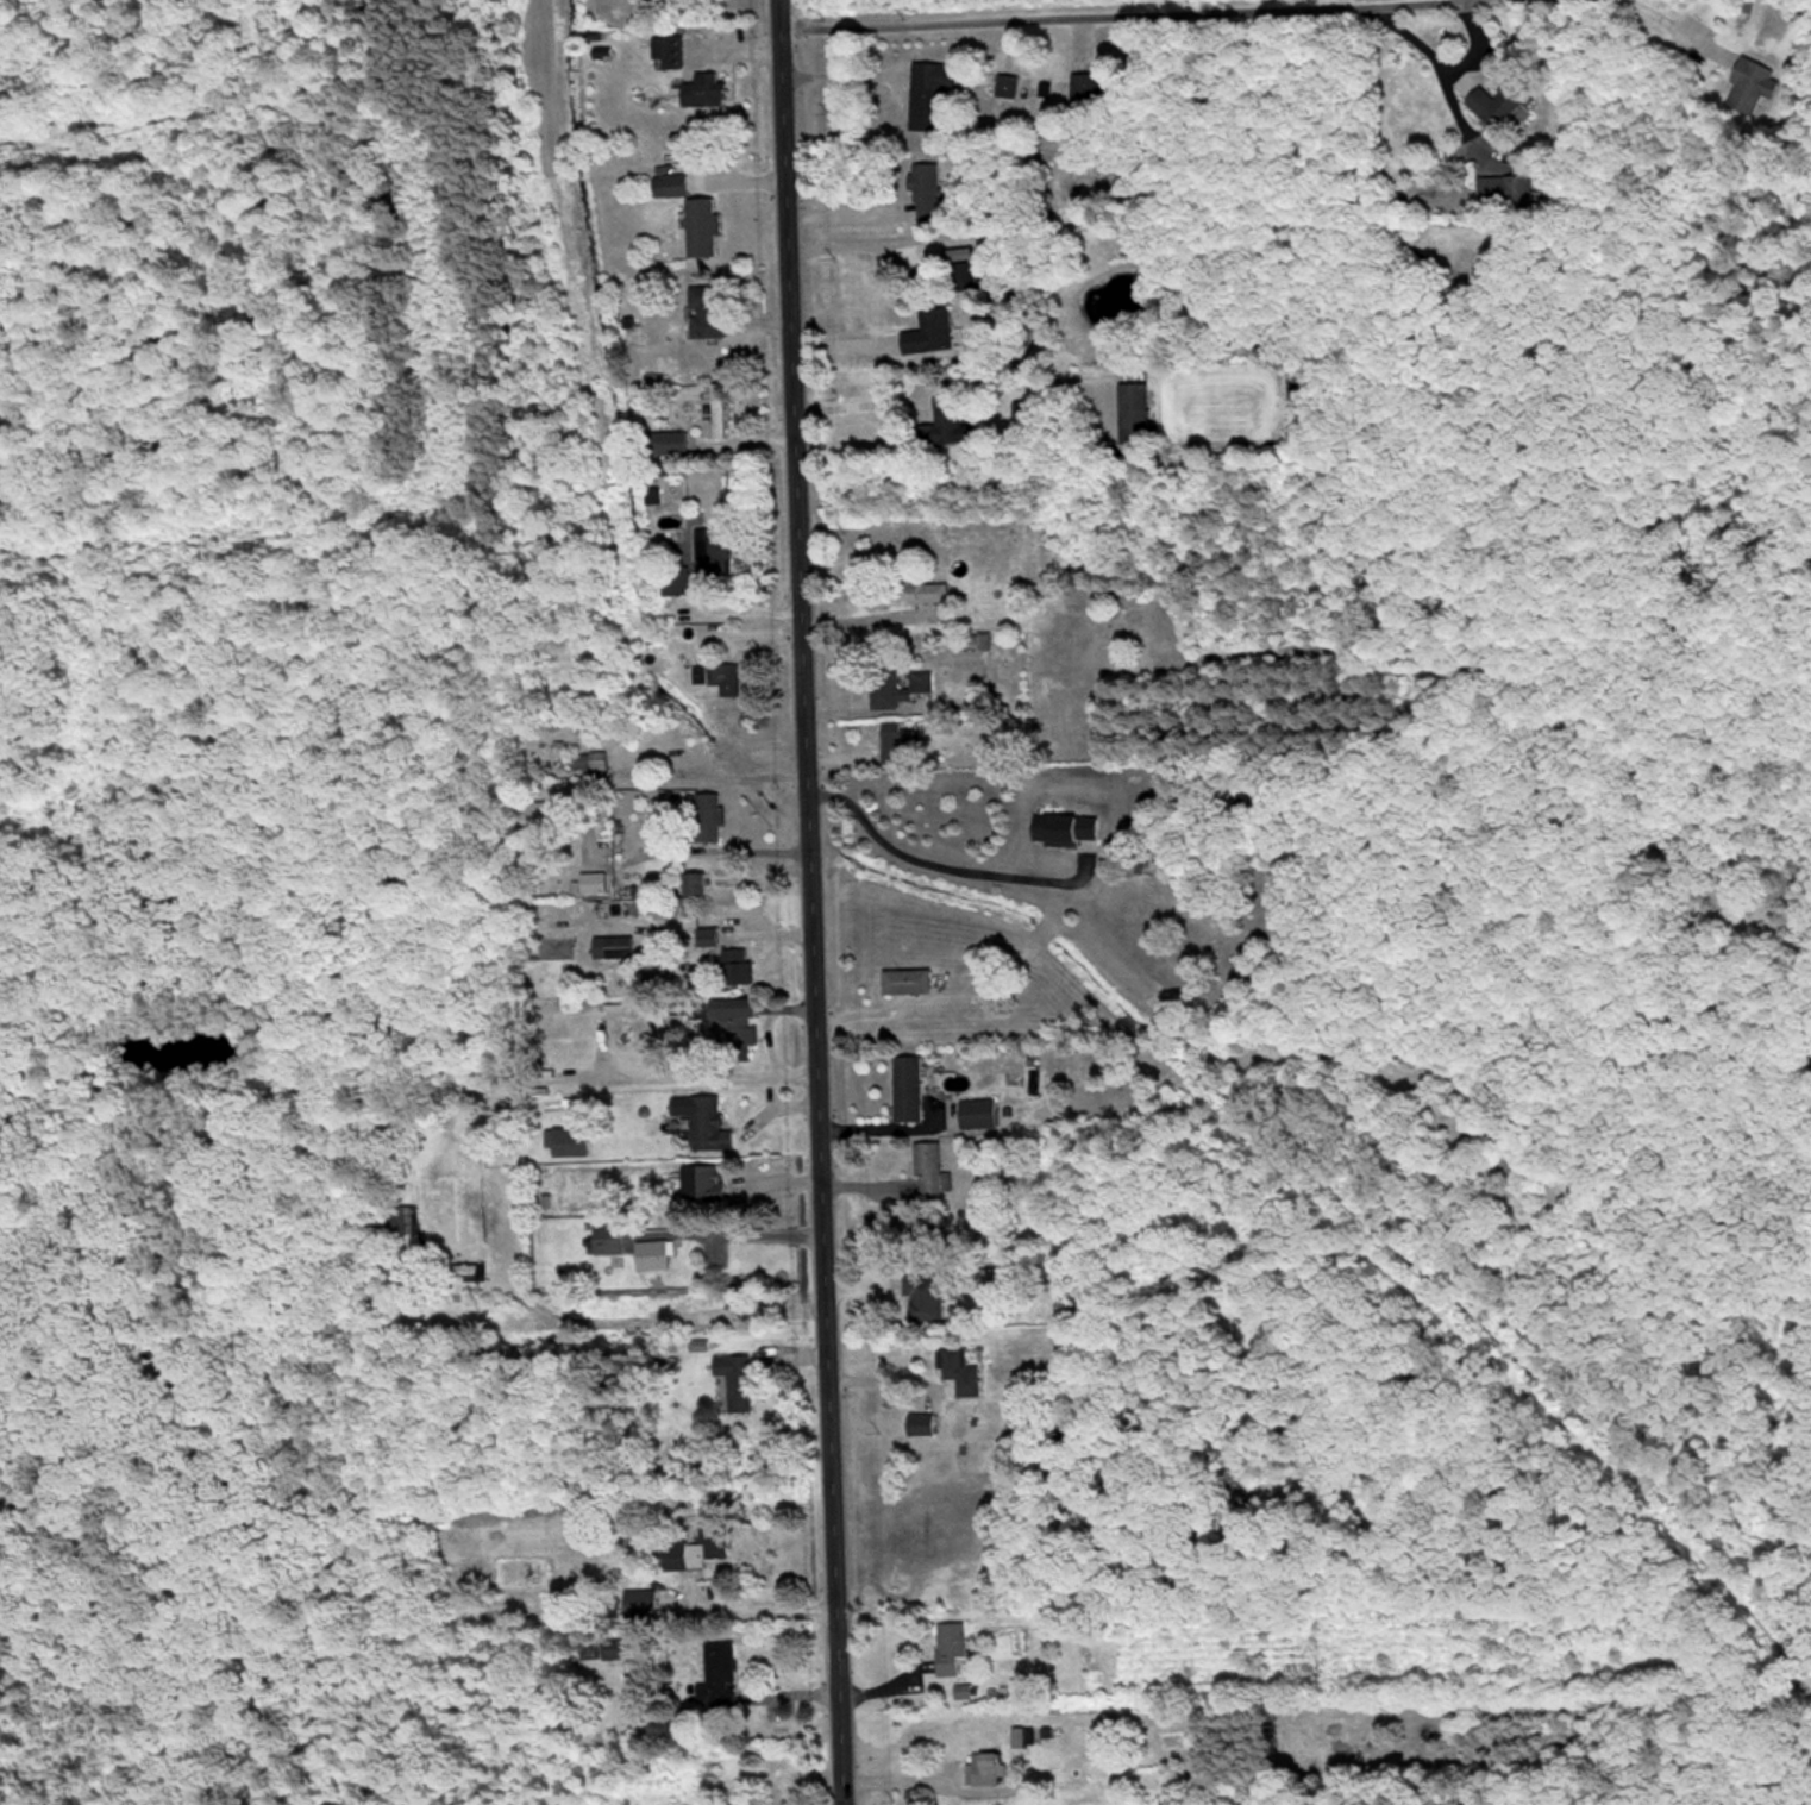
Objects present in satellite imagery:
road: (1019, 11)
road: (1660, 11)
road: (1480, 42)
road: (1430, 48)
building: (668, 50)
building: (1752, 83)
building: (1007, 84)
building: (703, 88)
building: (1085, 89)
building: (929, 92)
building: (1502, 101)
building: (669, 183)
building: (926, 190)
building: (1508, 190)
building: (701, 225)
building: (706, 309)
building: (929, 331)
building: (715, 410)
building: (1133, 410)
building: (942, 422)
building: (664, 440)
building: (710, 551)
building: (673, 582)
building: (921, 590)
building: (973, 640)
building: (723, 675)
building: (896, 687)
building: (897, 740)
road: (720, 752)
building: (589, 759)
building: (541, 810)
building: (708, 815)
road: (591, 821)
building: (1065, 825)
road: (929, 864)
building: (593, 880)
building: (694, 882)
road: (808, 902)
building: (707, 935)
building: (613, 946)
building: (734, 965)
building: (907, 979)
building: (735, 1019)
building: (907, 1086)
building: (977, 1111)
building: (703, 1120)
building: (566, 1140)
building: (930, 1170)
building: (701, 1180)
building: (651, 1253)
building: (923, 1296)
building: (960, 1368)
building: (735, 1379)
building: (920, 1423)
building: (701, 1546)
road: (765, 1607)
building: (618, 1647)
building: (950, 1647)
building: (717, 1676)
building: (1020, 1685)
building: (985, 1766)

